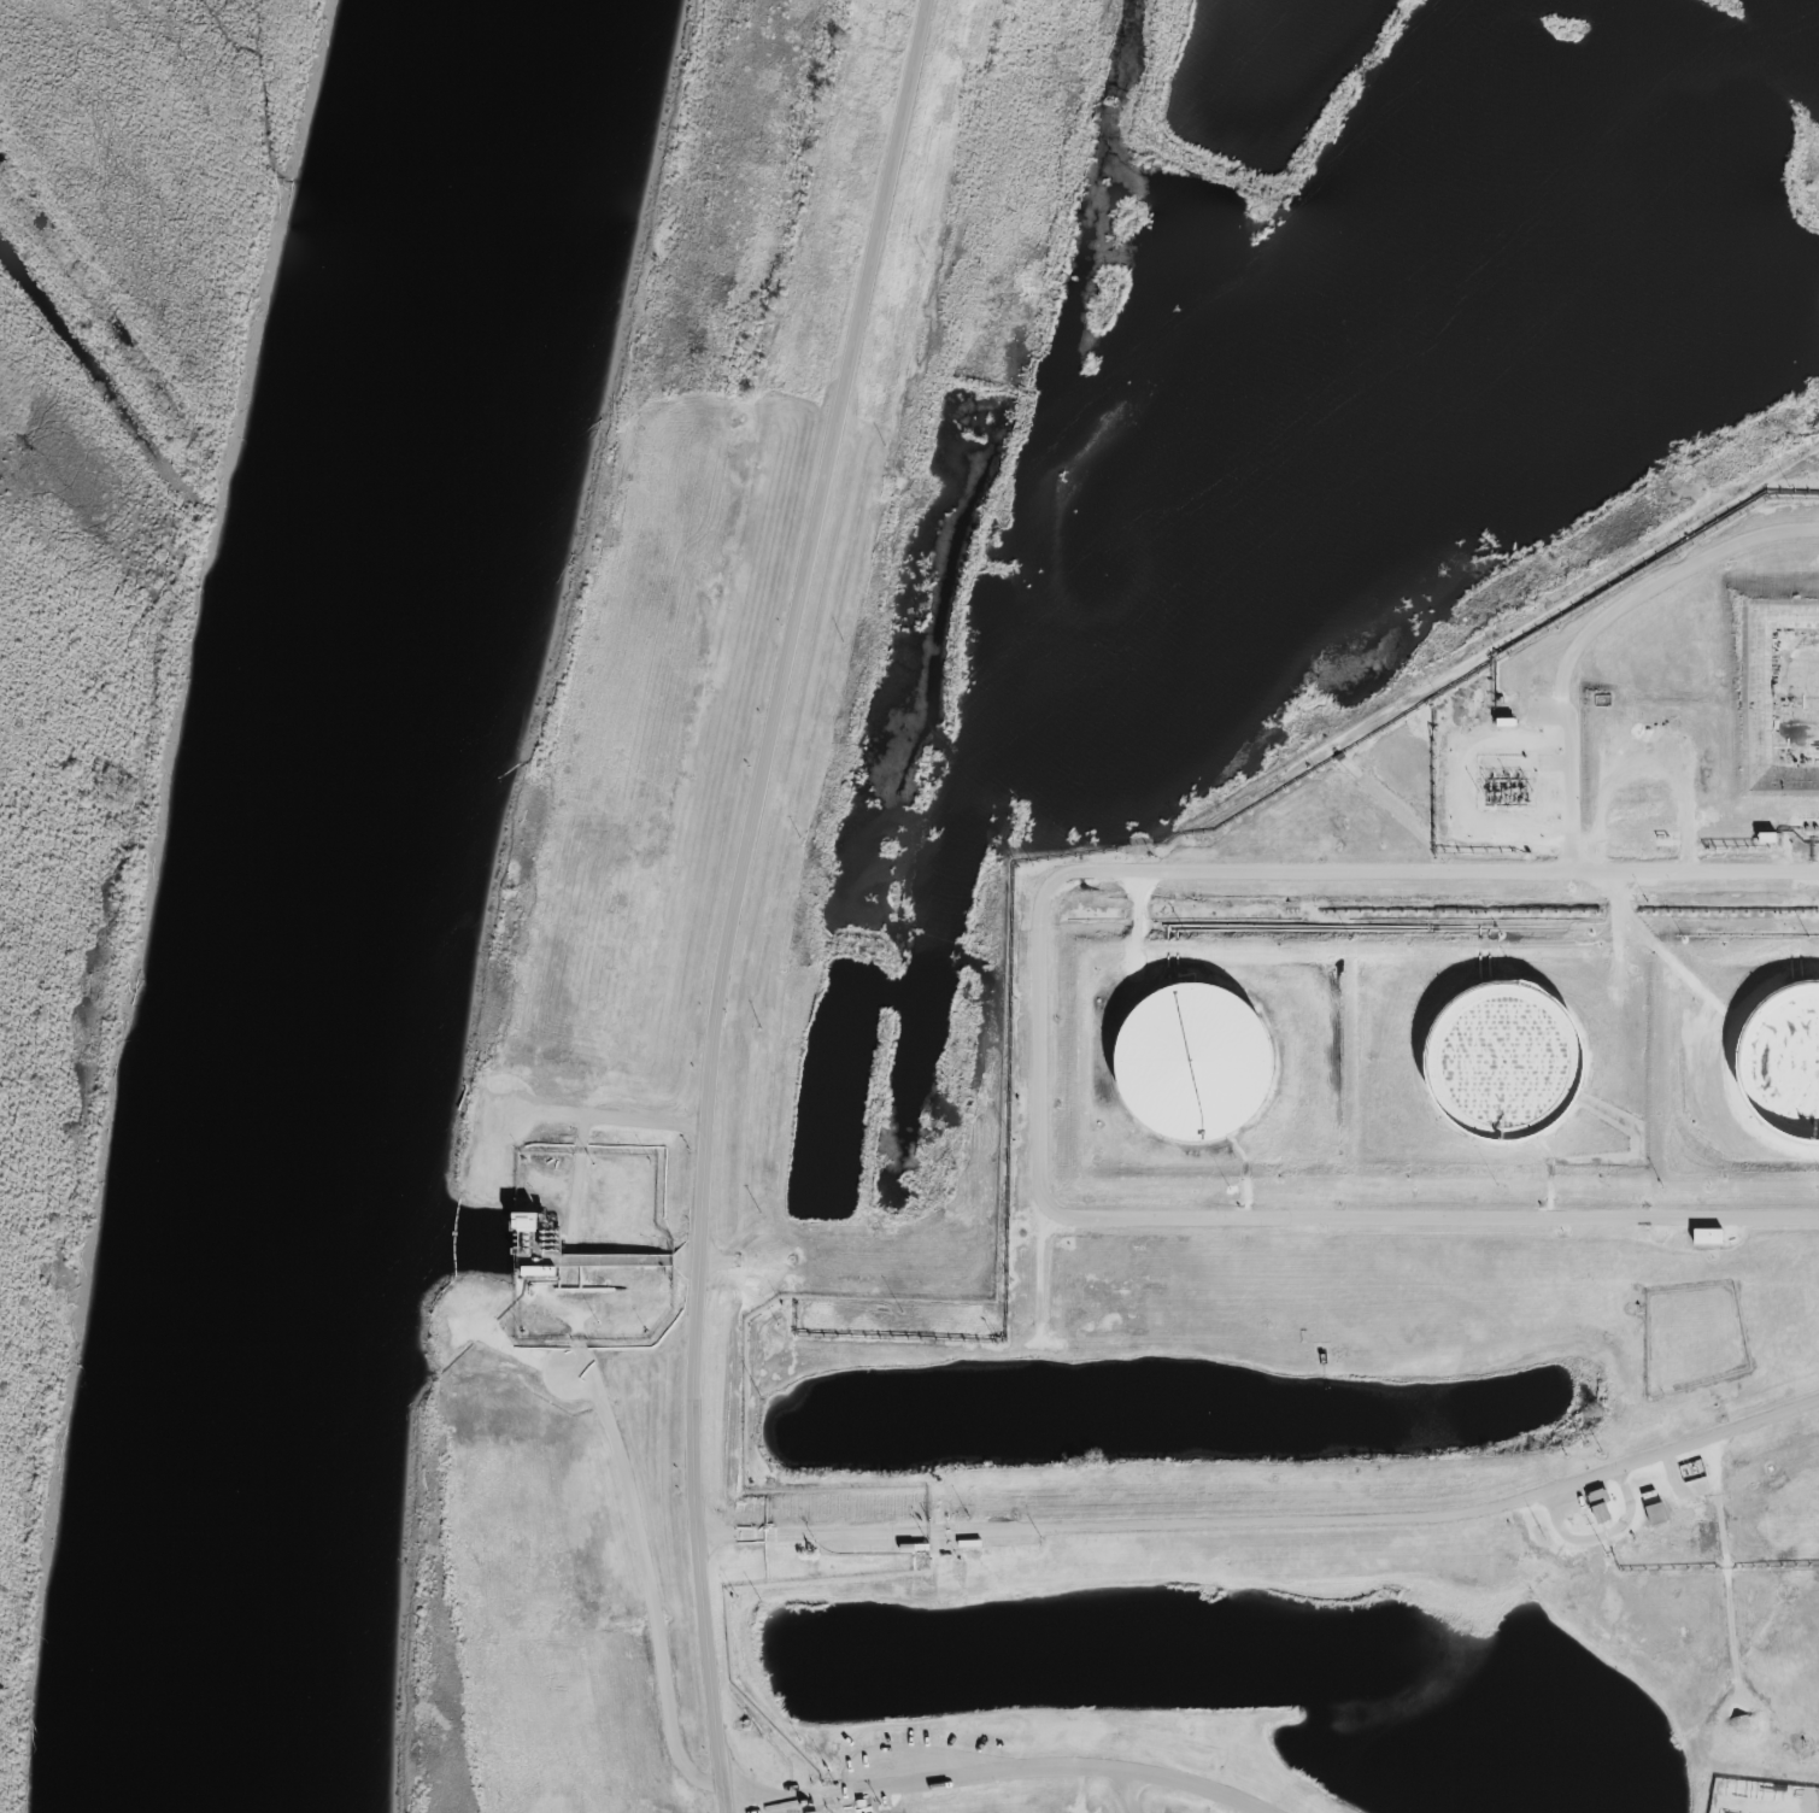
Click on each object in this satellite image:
road: (1596, 633)
building: (1778, 693)
road: (776, 762)
river: (347, 899)
building: (1782, 1058)
storage tank: (1782, 1058)
road: (1044, 1061)
building: (1498, 1062)
storage tank: (1498, 1062)
building: (1187, 1064)
storage tank: (1187, 1064)
building: (521, 1221)
building: (1598, 1508)
building: (1654, 1516)
road: (635, 1525)
road: (1269, 1531)
road: (711, 1674)
road: (1007, 1776)
road: (1813, 1811)

